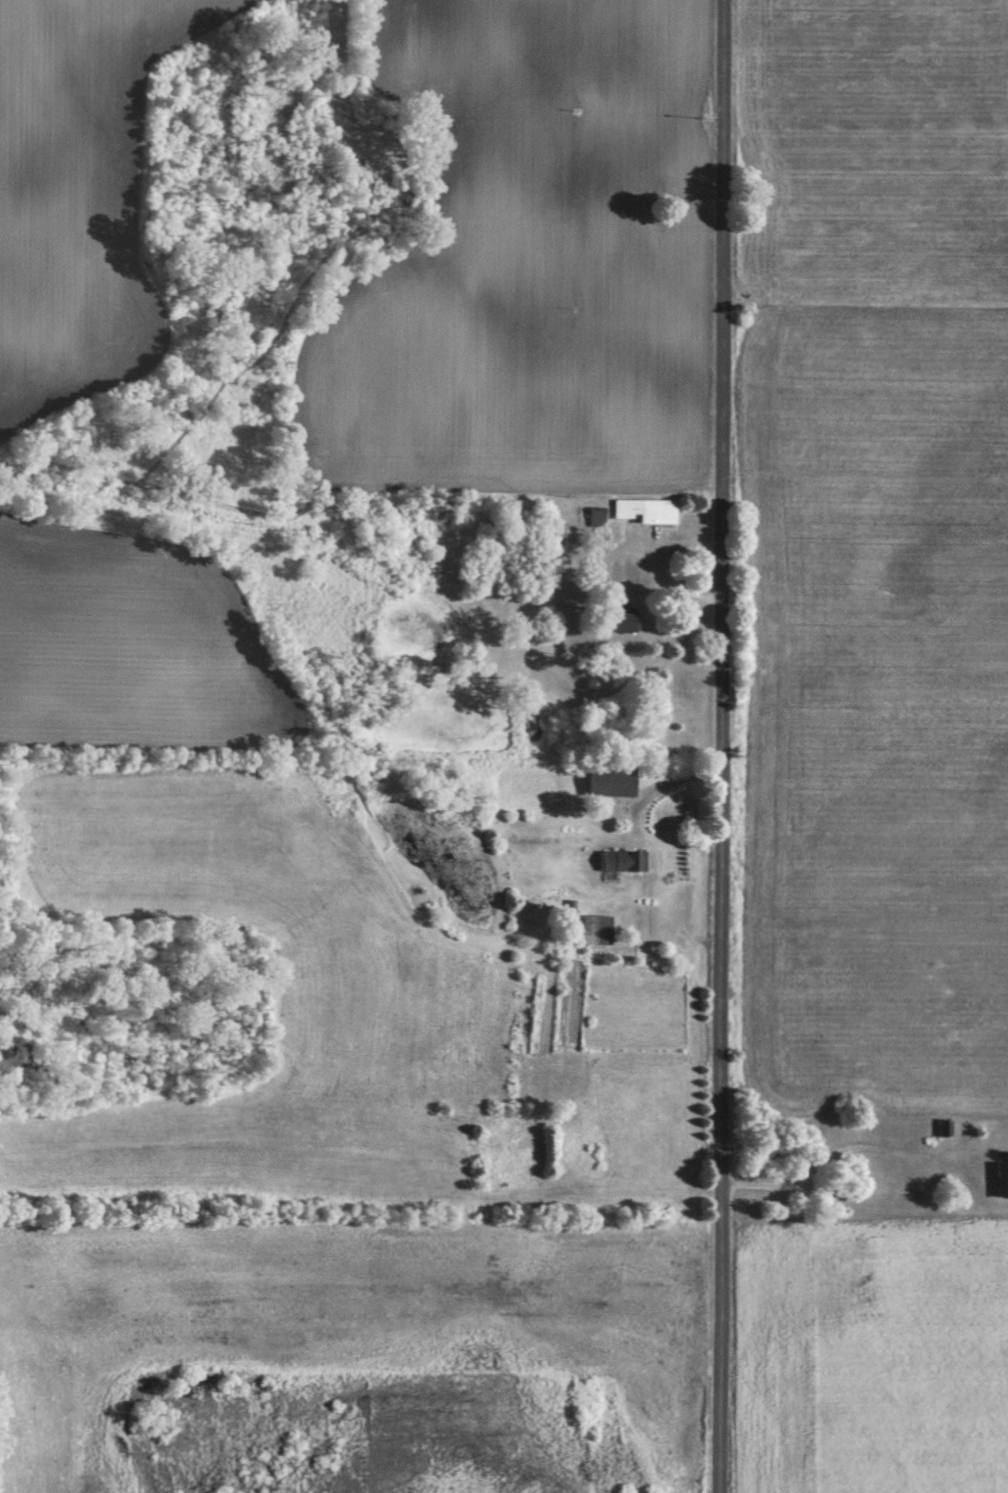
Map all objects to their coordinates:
building: (644, 510)
road: (602, 570)
building: (623, 622)
road: (725, 746)
building: (611, 780)
building: (623, 861)
building: (596, 929)
building: (945, 1126)
building: (1003, 1179)

